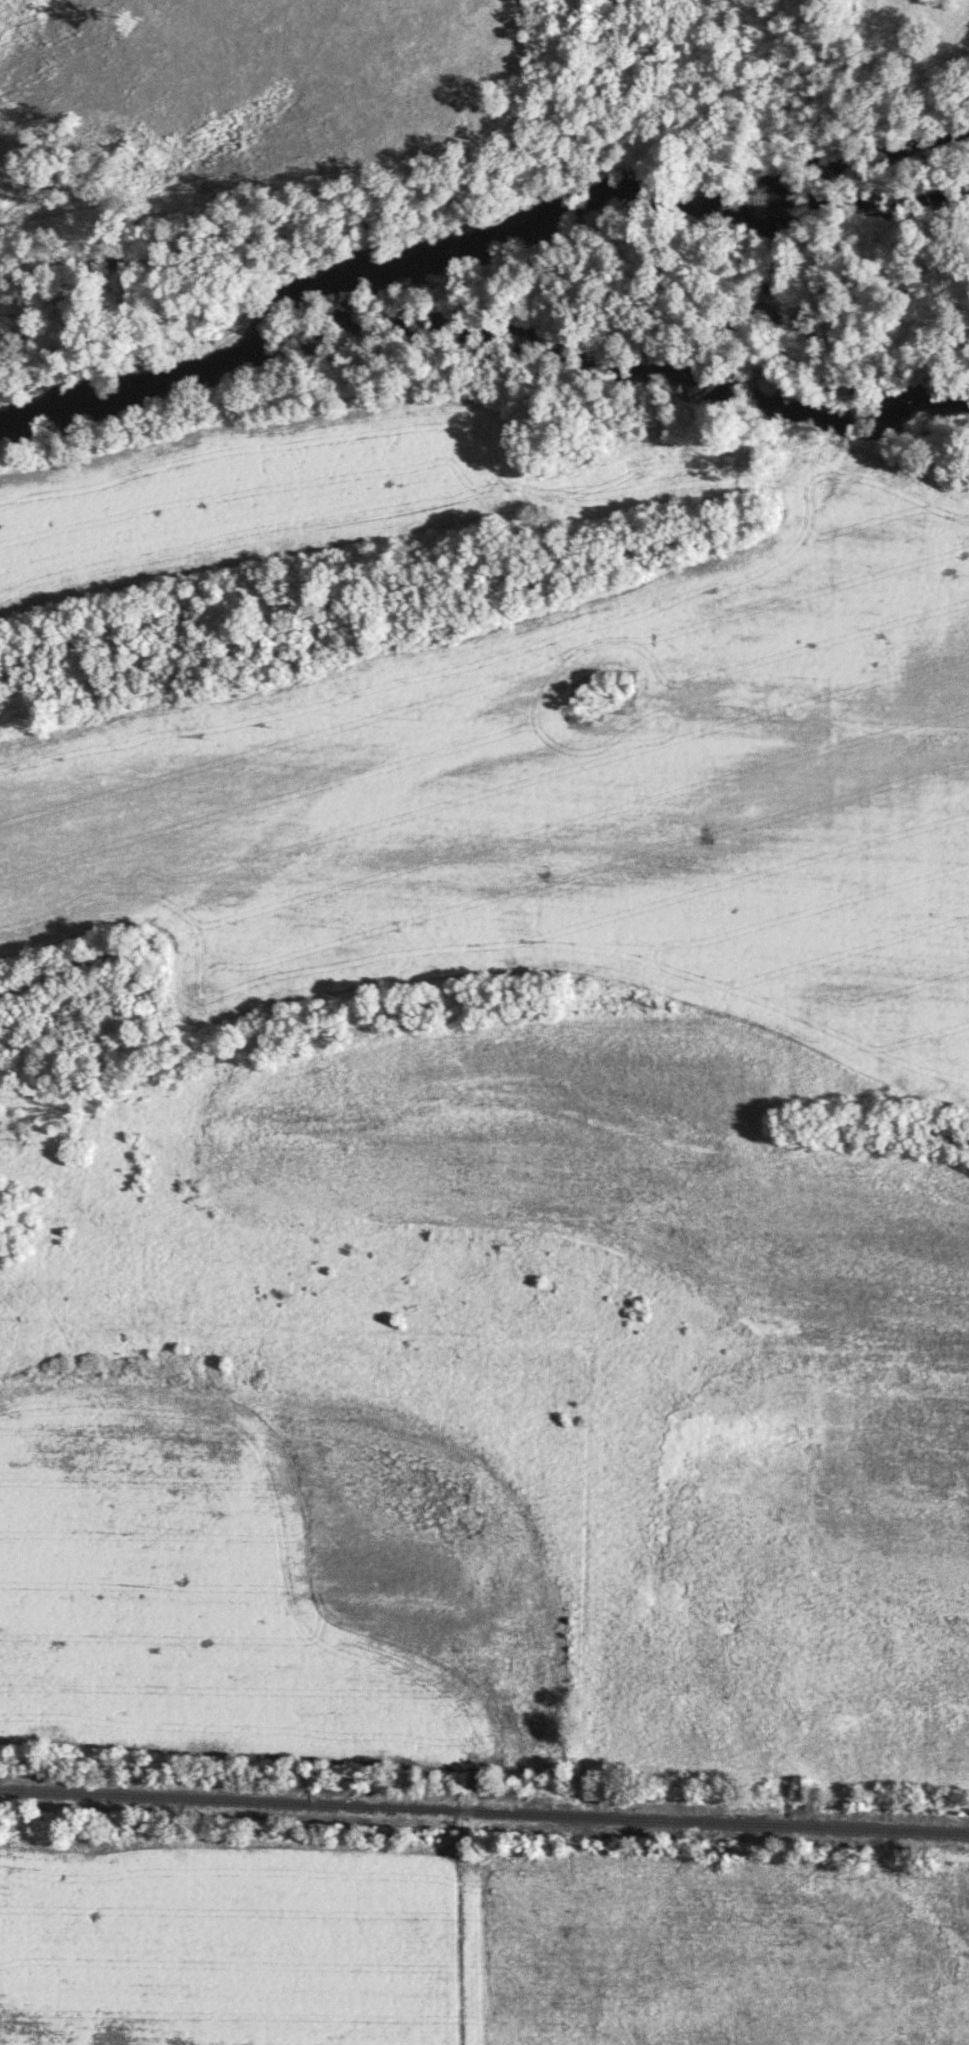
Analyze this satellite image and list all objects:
railway: (484, 1810)

